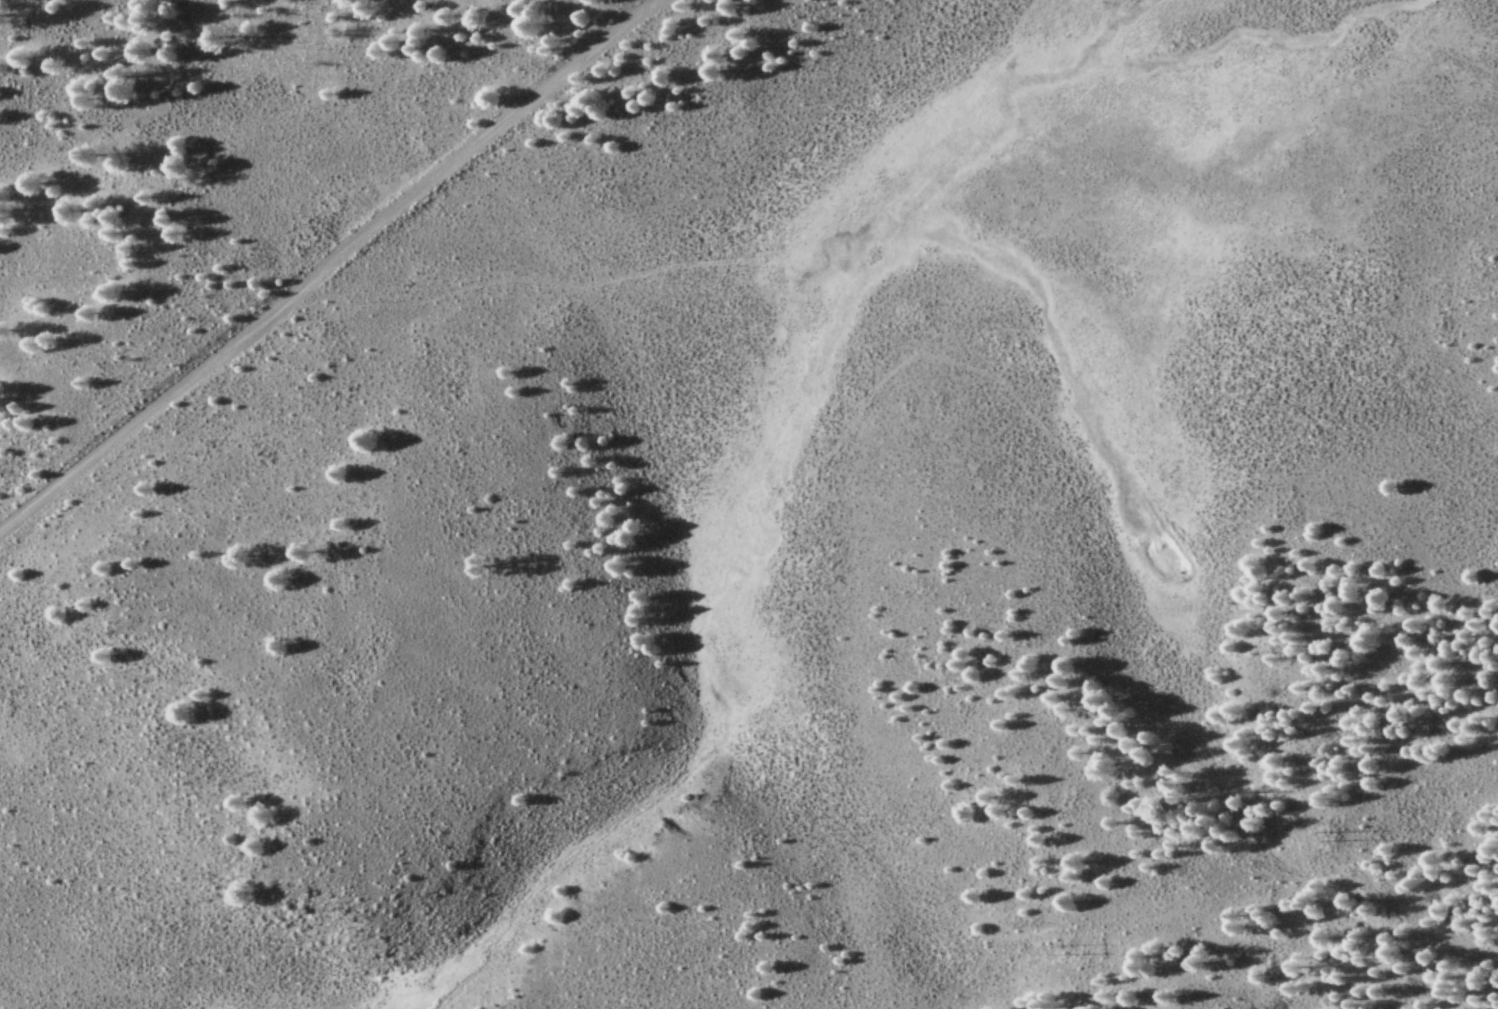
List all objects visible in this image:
road: (310, 260)
power tower: (1325, 838)
power tower: (1062, 951)

